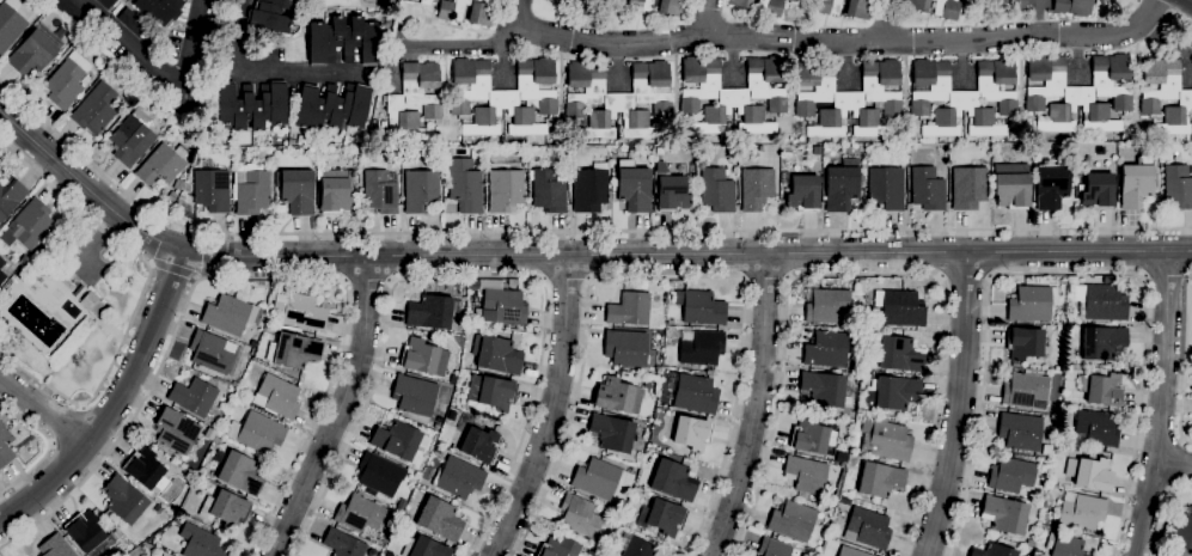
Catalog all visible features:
building: (561, 0)
building: (793, 0)
building: (426, 1)
building: (967, 1)
building: (106, 2)
building: (577, 2)
building: (740, 2)
building: (1060, 2)
building: (1007, 4)
road: (1129, 4)
building: (640, 5)
building: (916, 5)
building: (827, 6)
road: (1154, 6)
building: (670, 7)
building: (770, 7)
building: (1080, 7)
building: (860, 8)
building: (947, 8)
building: (158, 10)
building: (69, 11)
building: (467, 11)
road: (519, 12)
road: (1168, 12)
building: (269, 16)
road: (708, 18)
building: (132, 20)
road: (884, 20)
road: (1180, 20)
building: (10, 23)
road: (233, 35)
building: (343, 41)
road: (128, 42)
road: (191, 42)
road: (843, 42)
road: (439, 45)
building: (35, 50)
road: (281, 72)
building: (67, 80)
building: (1078, 92)
building: (733, 94)
building: (1165, 94)
building: (503, 96)
building: (849, 97)
building: (962, 97)
building: (618, 98)
building: (414, 100)
building: (251, 105)
building: (331, 106)
building: (94, 109)
building: (132, 138)
building: (538, 140)
building: (1106, 145)
building: (901, 148)
building: (312, 149)
building: (660, 149)
building: (817, 149)
building: (909, 158)
building: (161, 164)
building: (1138, 181)
building: (178, 183)
building: (840, 184)
building: (1011, 184)
building: (250, 185)
building: (1178, 185)
building: (464, 187)
building: (632, 187)
building: (968, 187)
building: (1051, 187)
building: (591, 188)
building: (756, 188)
building: (886, 188)
building: (928, 188)
building: (212, 189)
building: (506, 189)
building: (716, 189)
building: (298, 190)
building: (337, 190)
building: (380, 190)
building: (421, 190)
building: (548, 190)
building: (668, 190)
building: (1098, 190)
building: (803, 193)
building: (11, 196)
building: (29, 225)
road: (569, 231)
road: (99, 239)
road: (570, 253)
road: (206, 255)
building: (24, 258)
building: (1, 262)
road: (176, 269)
road: (1068, 273)
road: (660, 275)
road: (864, 275)
building: (2, 276)
road: (247, 276)
road: (465, 276)
road: (1166, 276)
road: (966, 279)
road: (564, 280)
road: (765, 280)
road: (367, 281)
building: (473, 283)
building: (78, 289)
road: (141, 294)
building: (1101, 301)
building: (92, 303)
building: (1032, 303)
building: (826, 305)
building: (503, 306)
building: (701, 307)
building: (899, 307)
building: (629, 308)
building: (299, 310)
building: (433, 311)
building: (231, 313)
building: (72, 341)
building: (1025, 342)
building: (1102, 342)
building: (626, 347)
building: (701, 347)
building: (826, 349)
building: (293, 350)
building: (214, 352)
building: (897, 353)
building: (496, 354)
building: (423, 356)
road: (1184, 361)
building: (1015, 363)
building: (623, 374)
building: (453, 378)
building: (234, 384)
building: (1102, 386)
building: (824, 387)
building: (1025, 389)
building: (491, 391)
building: (692, 392)
building: (893, 392)
building: (414, 395)
building: (277, 396)
building: (617, 396)
building: (194, 397)
road: (117, 403)
road: (1160, 404)
road: (757, 407)
road: (962, 407)
road: (45, 408)
building: (470, 408)
road: (552, 410)
road: (341, 411)
road: (66, 423)
building: (436, 426)
building: (1096, 427)
building: (176, 430)
building: (1020, 430)
building: (257, 432)
building: (612, 432)
building: (691, 432)
building: (813, 435)
building: (397, 439)
building: (885, 439)
building: (479, 445)
building: (5, 446)
road: (49, 446)
road: (1174, 463)
building: (145, 469)
building: (240, 472)
building: (1094, 472)
building: (380, 473)
building: (806, 473)
building: (1011, 473)
building: (459, 477)
building: (599, 478)
building: (880, 478)
building: (673, 482)
building: (123, 499)
building: (158, 508)
building: (225, 508)
building: (1081, 509)
road: (1165, 512)
building: (360, 513)
building: (580, 515)
building: (1008, 515)
building: (664, 517)
building: (439, 519)
building: (791, 520)
building: (867, 528)
building: (1184, 530)
building: (85, 531)
building: (200, 542)
building: (343, 543)
building: (1064, 545)
building: (56, 546)
building: (423, 548)
building: (560, 548)
building: (638, 548)
building: (774, 548)
building: (995, 550)
building: (796, 551)
building: (852, 551)

